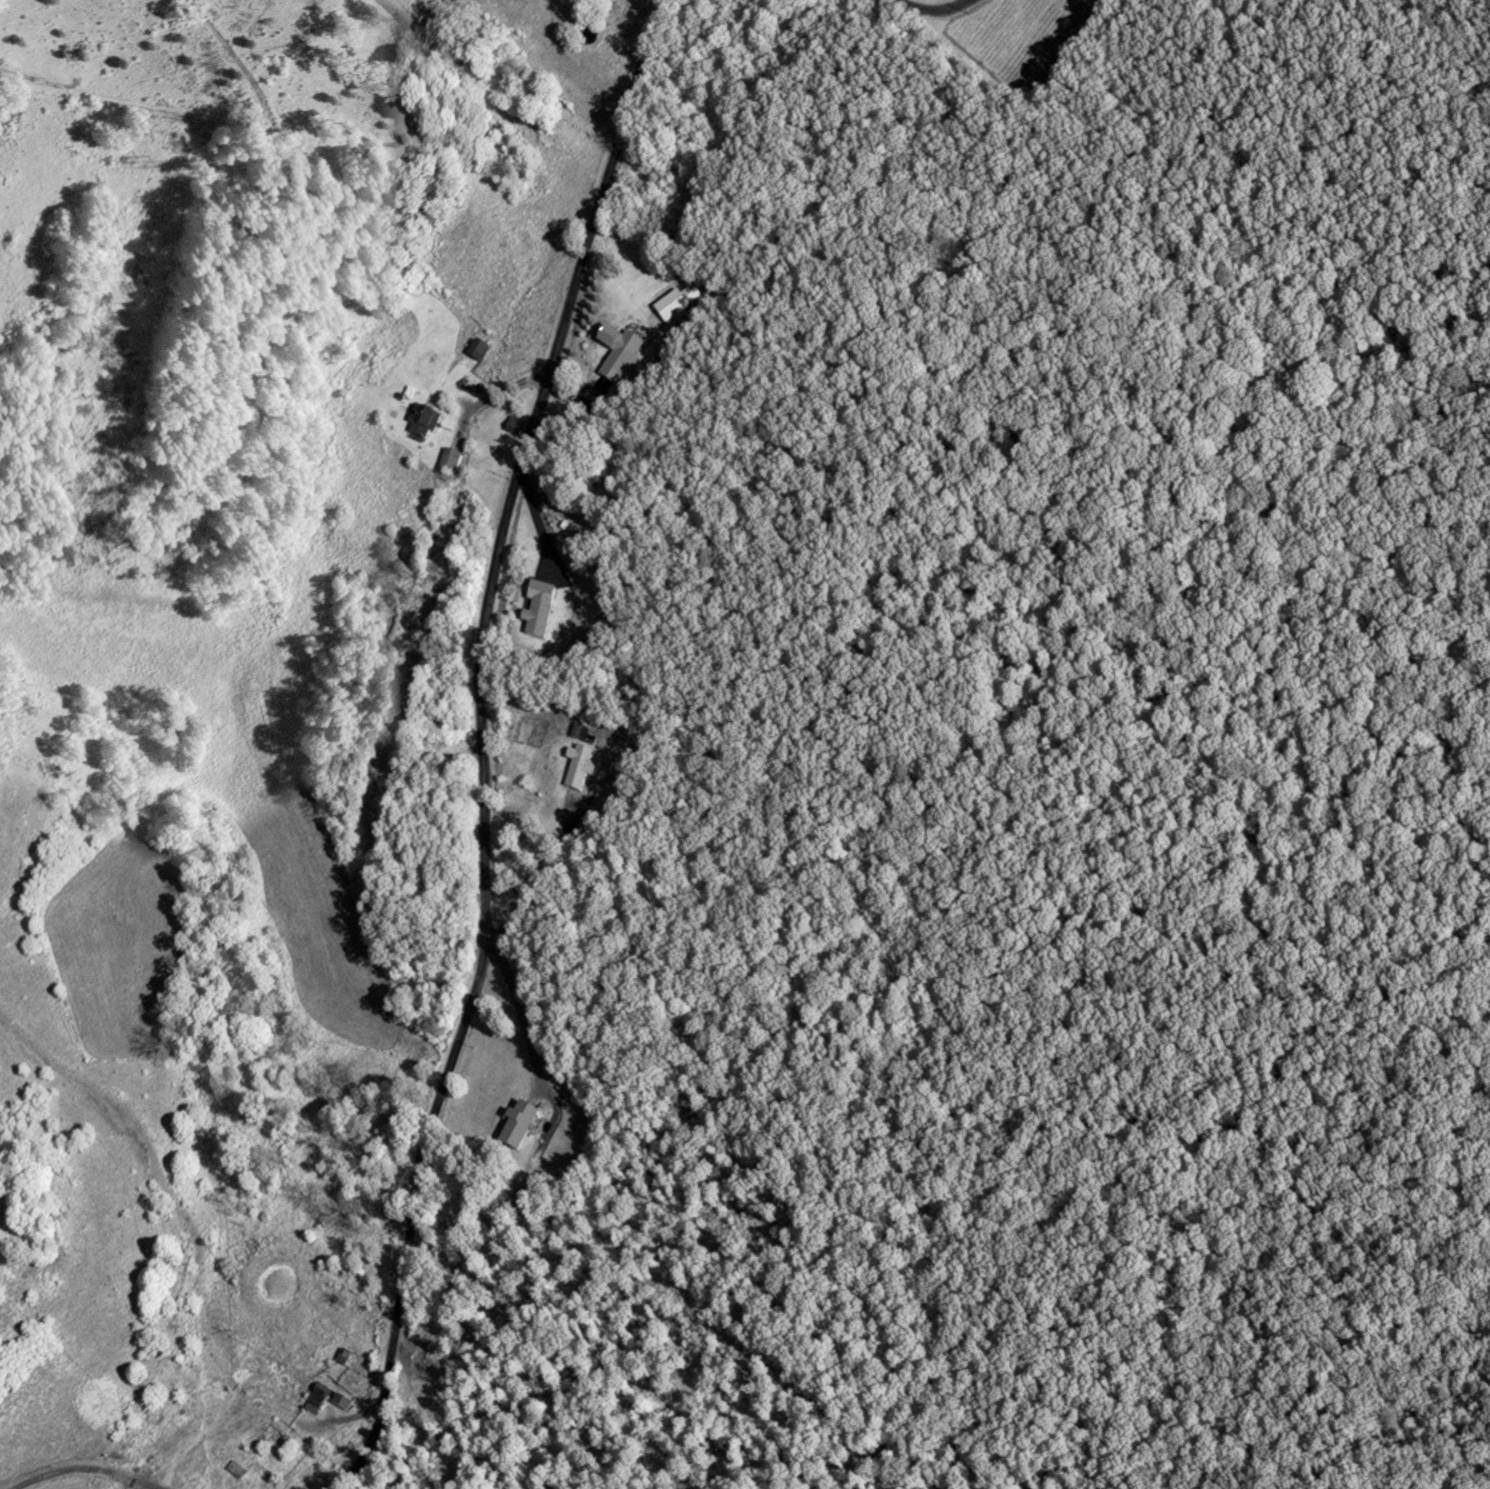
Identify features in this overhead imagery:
road: (933, 9)
building: (671, 308)
building: (477, 352)
building: (621, 358)
building: (423, 422)
building: (450, 461)
road: (538, 520)
building: (539, 610)
road: (480, 740)
building: (579, 769)
road: (535, 882)
road: (521, 1013)
building: (519, 1128)
building: (507, 1190)
building: (272, 1442)
road: (80, 1470)

